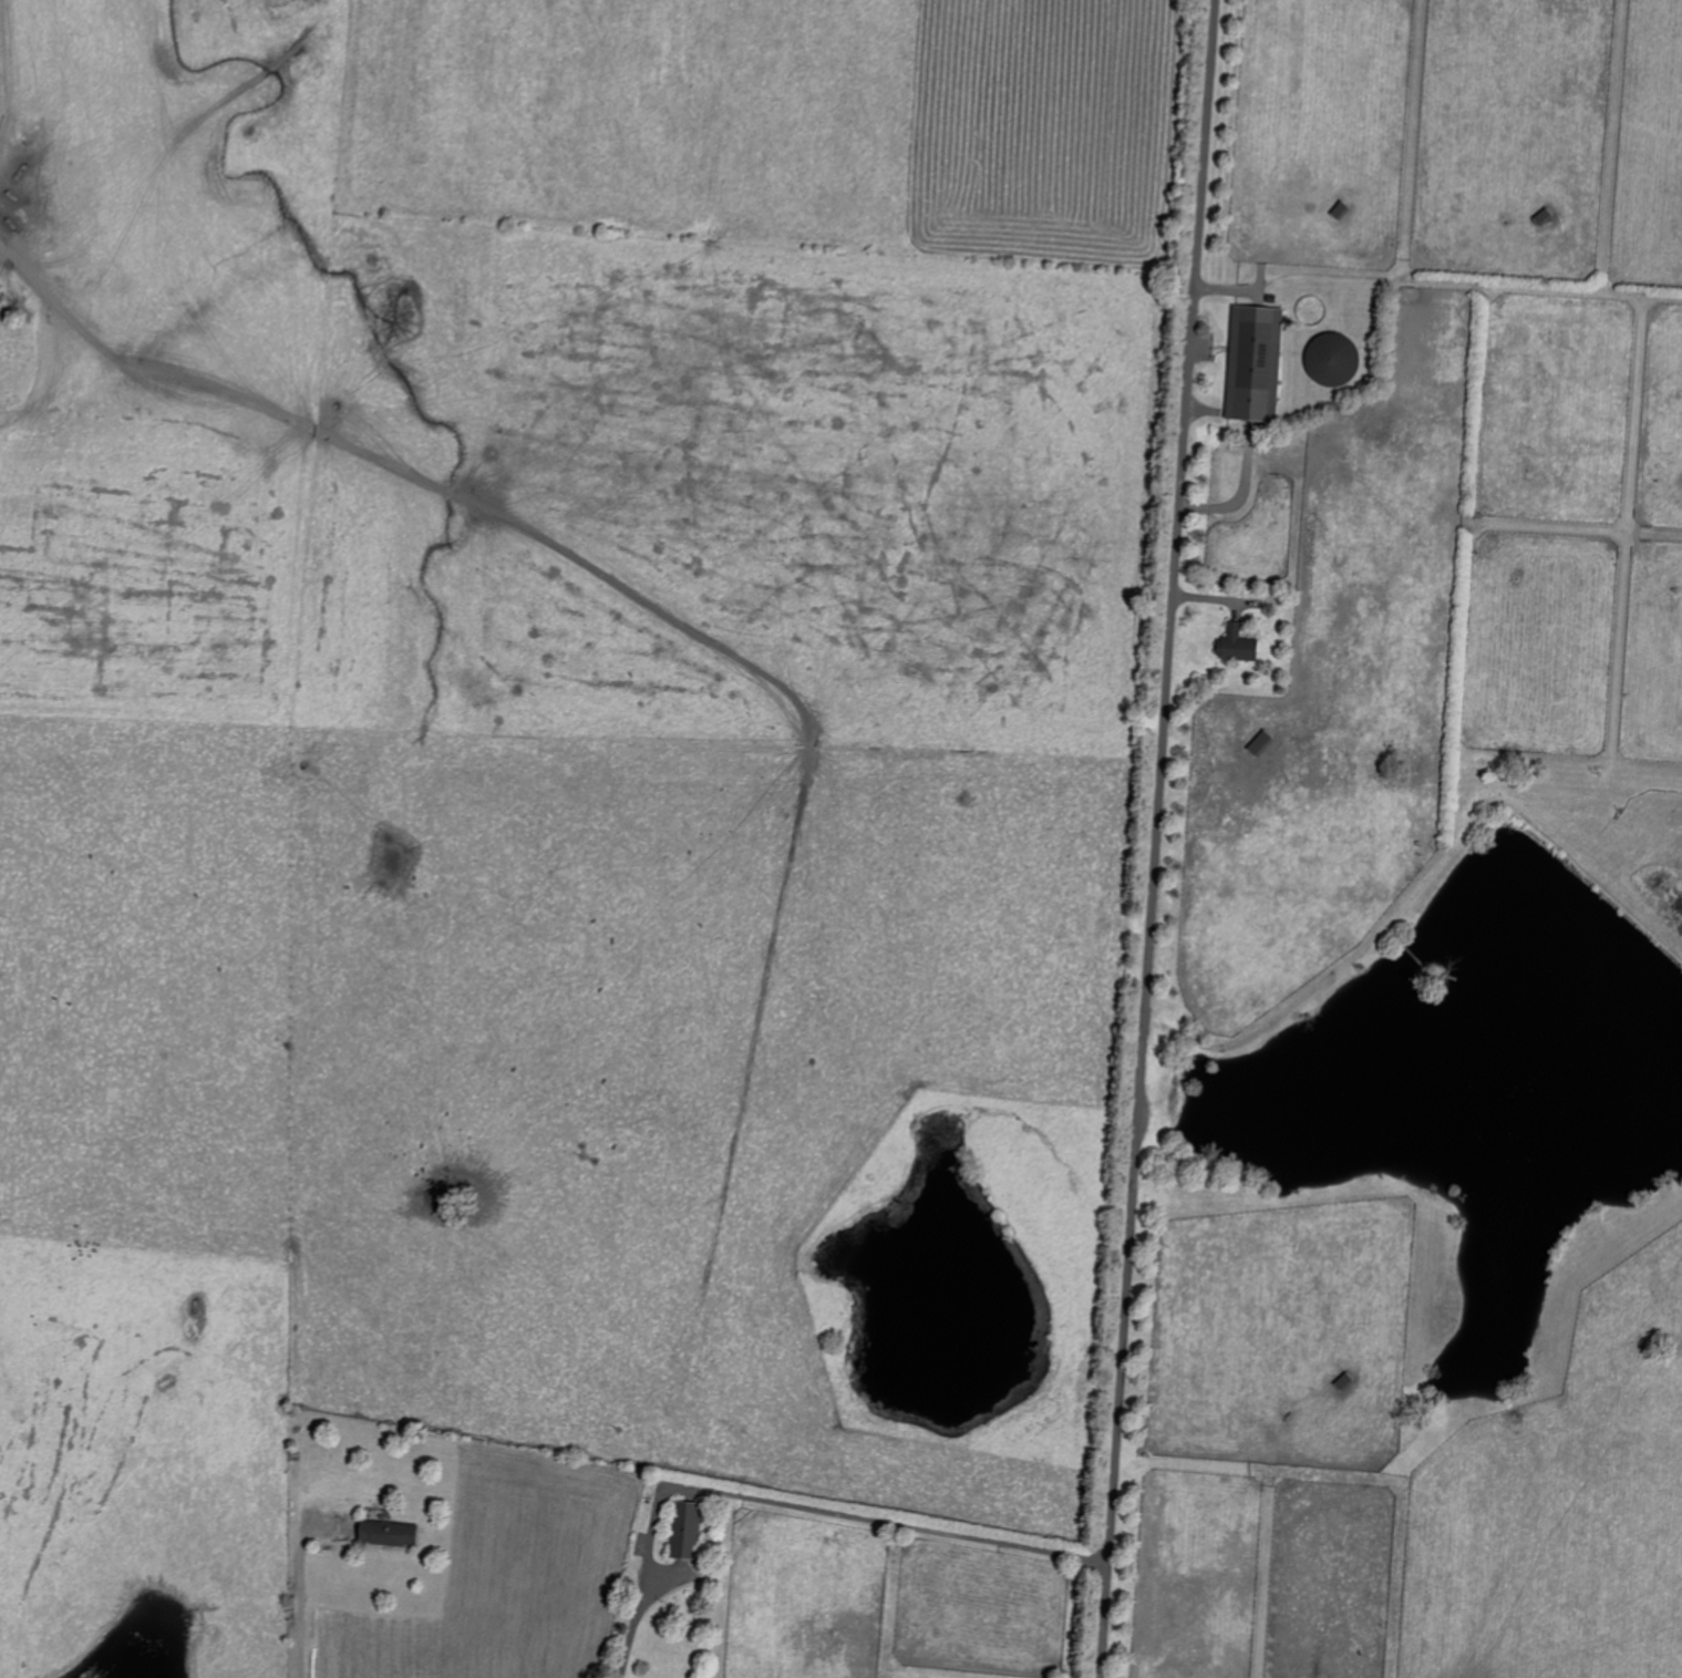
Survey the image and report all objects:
building: (1541, 218)
building: (1252, 364)
building: (1234, 647)
building: (1258, 744)
road: (1156, 838)
road: (790, 1502)
building: (683, 1531)
building: (385, 1533)
road: (300, 1600)

